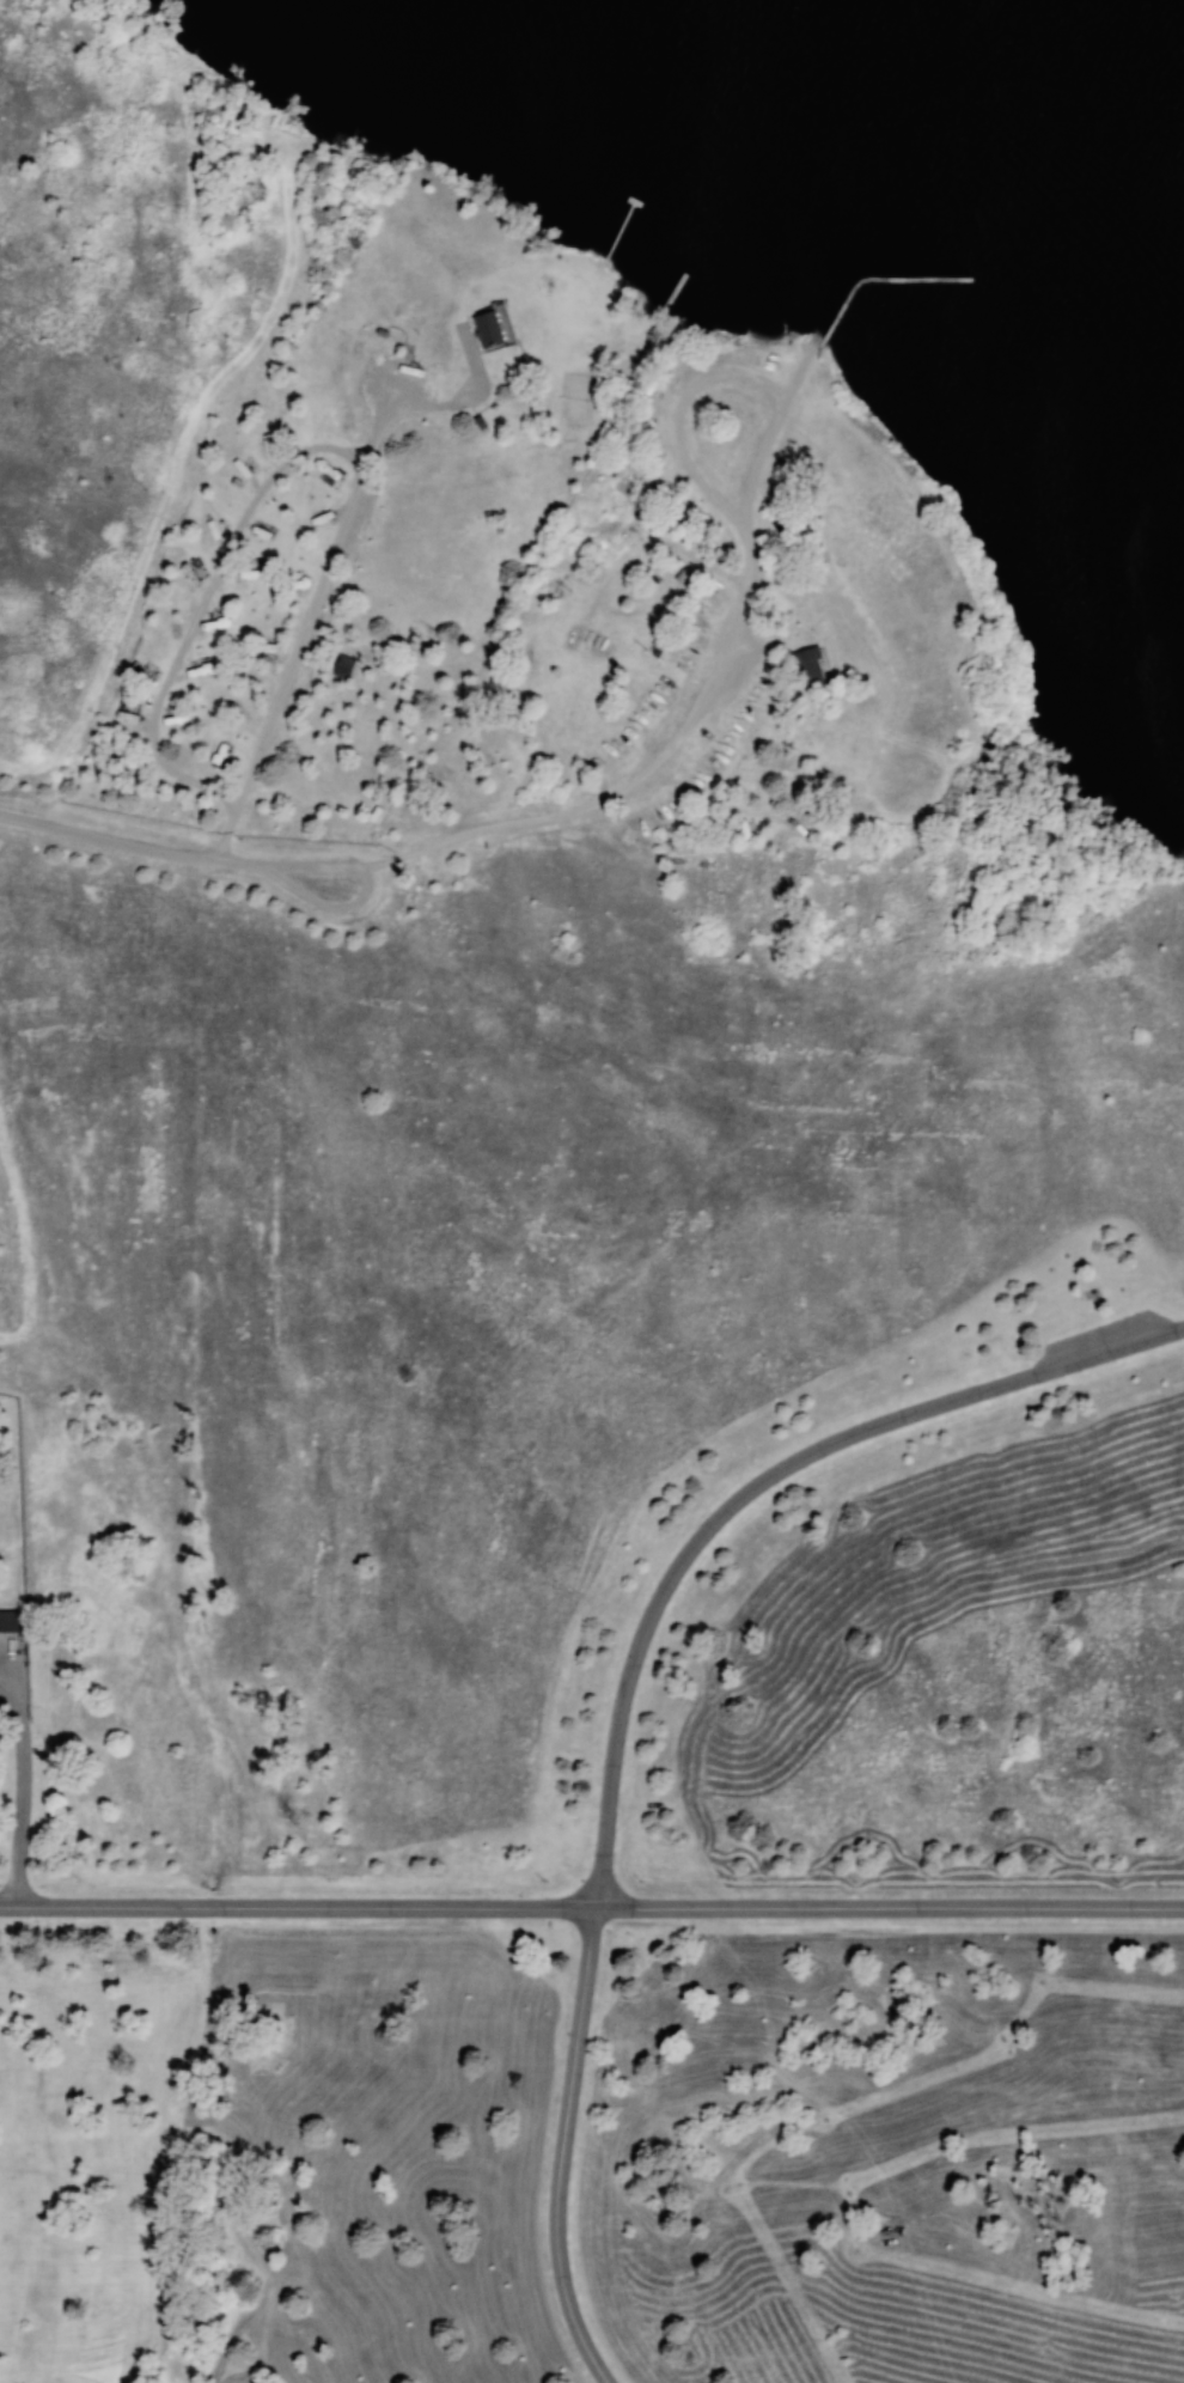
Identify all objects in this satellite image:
building: (487, 329)
road: (679, 416)
road: (201, 601)
road: (303, 621)
building: (343, 666)
building: (807, 668)
building: (218, 756)
road: (551, 813)
road: (316, 902)
park: (592, 1191)
road: (826, 1444)
building: (8, 1621)
road: (591, 1907)
road: (618, 2036)
road: (573, 2064)
road: (193, 2123)

